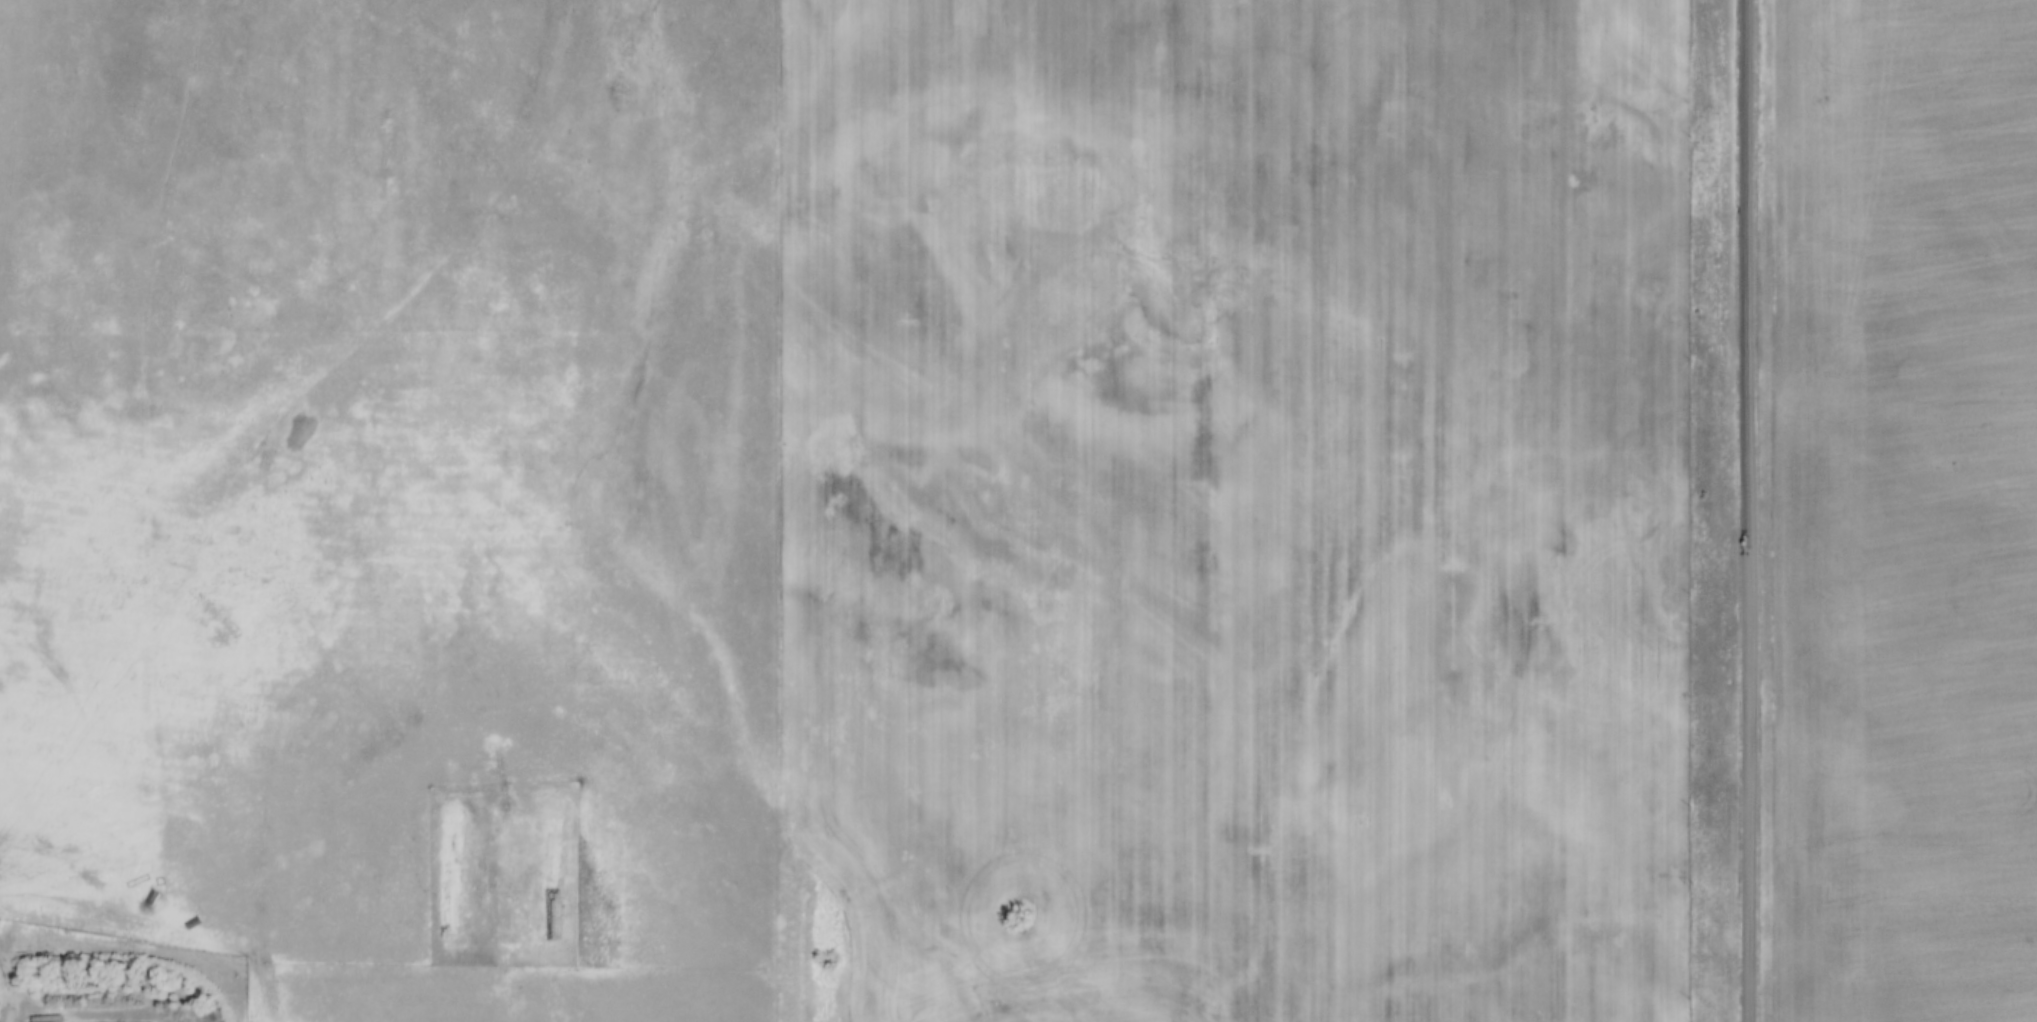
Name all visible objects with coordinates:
road: (1749, 510)
building: (40, 1019)

